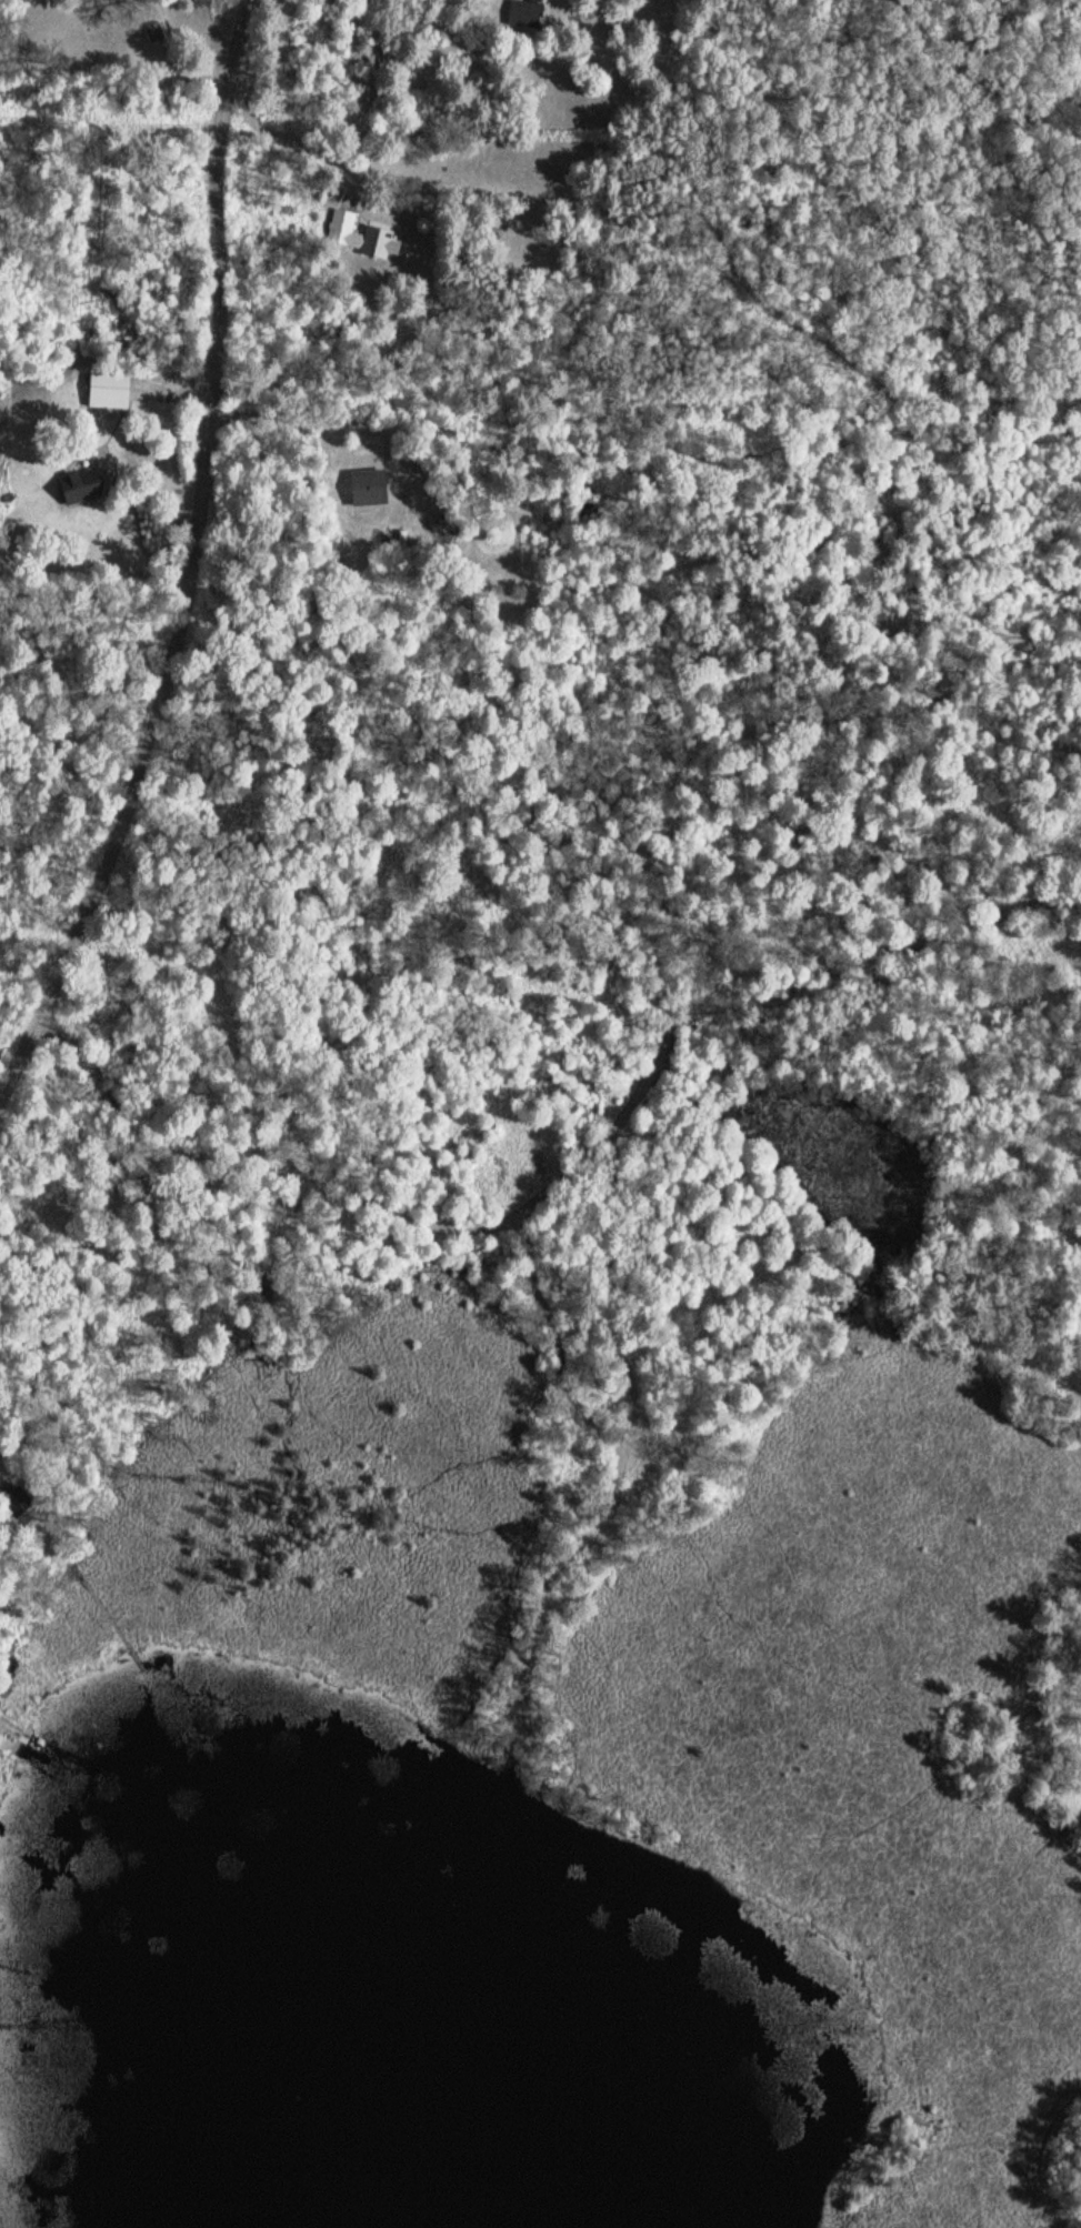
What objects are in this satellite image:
building: (527, 13)
building: (156, 32)
building: (361, 235)
building: (110, 391)
building: (82, 484)
building: (369, 488)
road: (197, 563)
road: (565, 1175)
road: (612, 1293)
road: (614, 1487)
road: (972, 1916)

